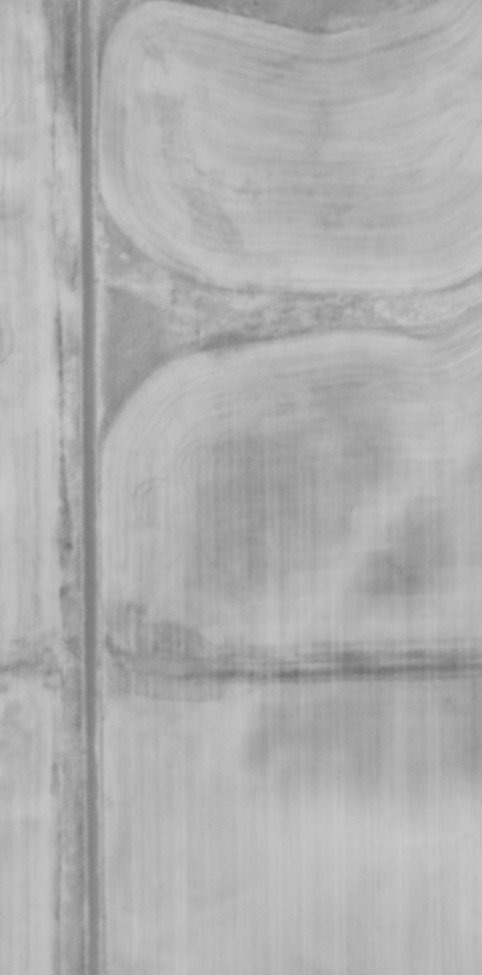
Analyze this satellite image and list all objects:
road: (91, 487)

